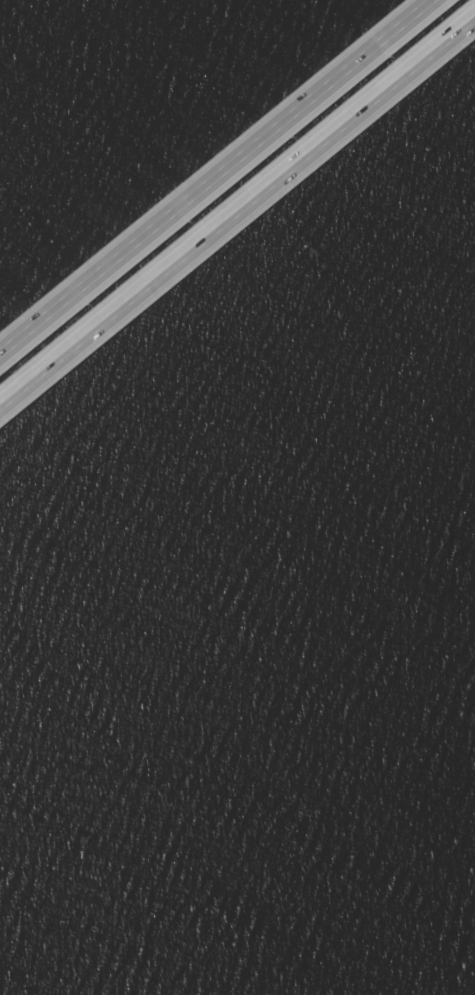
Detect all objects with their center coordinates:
road: (221, 180)
road: (238, 219)

